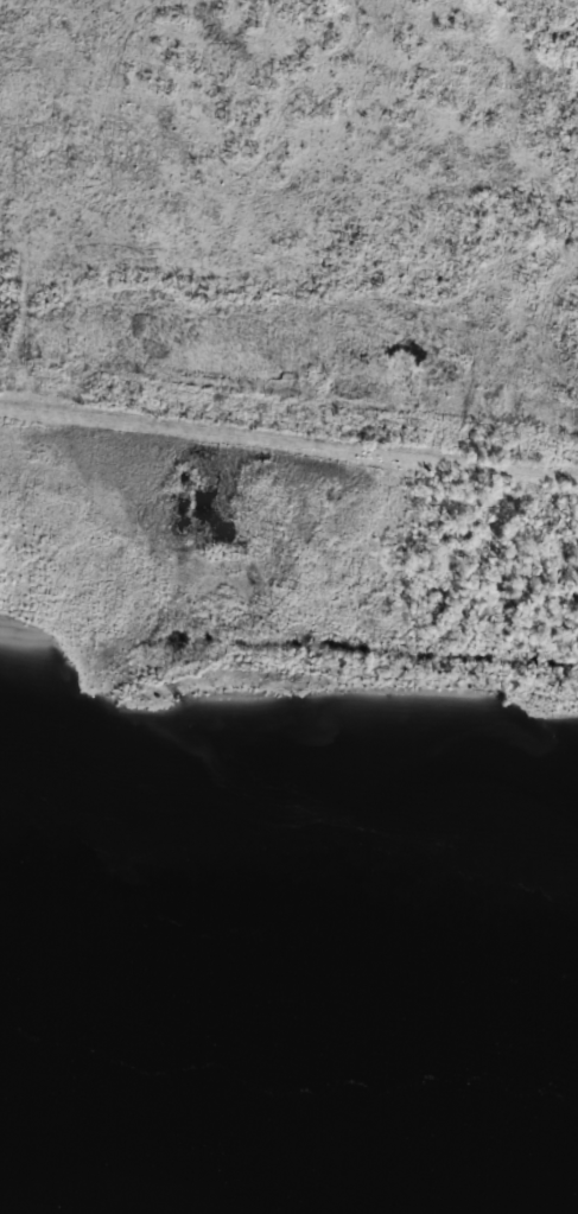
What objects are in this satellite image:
river: (288, 1150)

